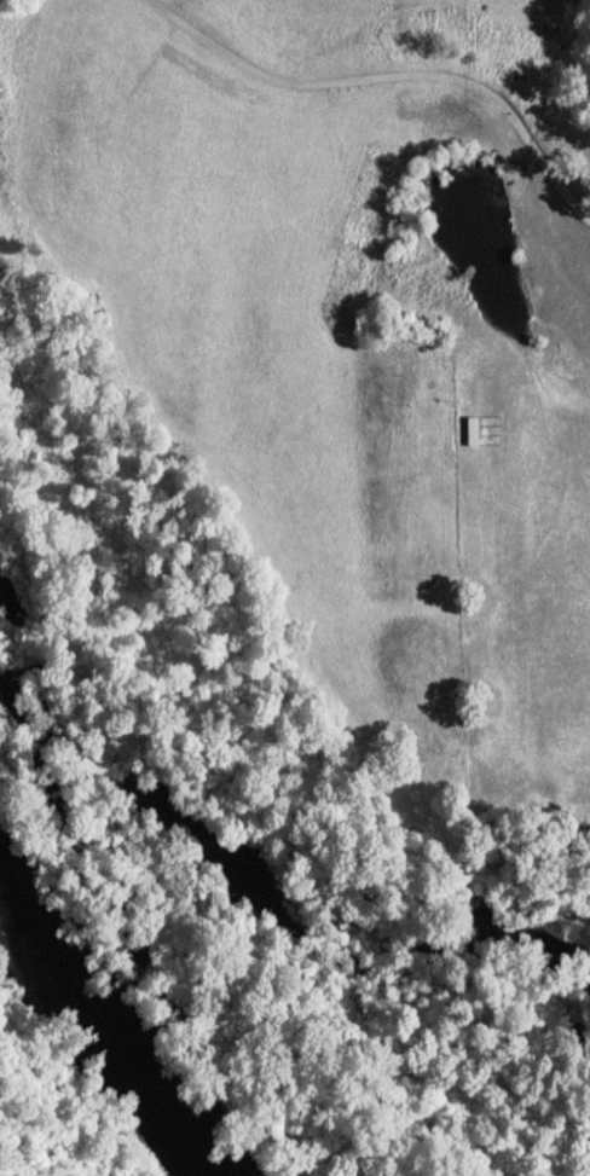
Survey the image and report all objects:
road: (384, 74)
building: (476, 430)
river: (121, 1016)

